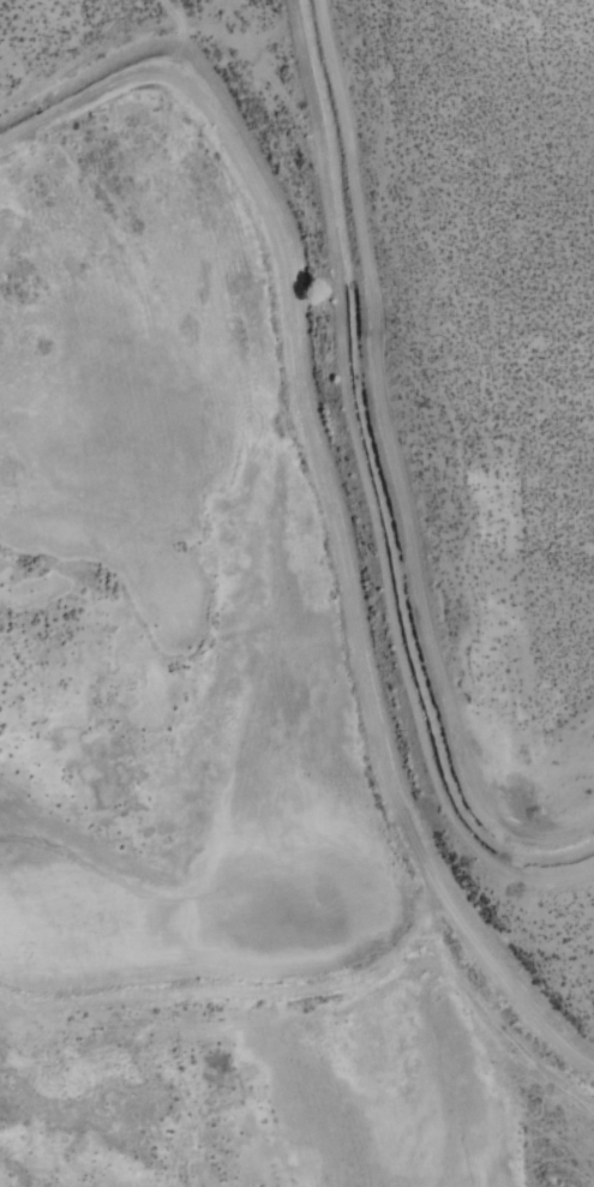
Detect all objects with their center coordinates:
road: (398, 464)
road: (364, 497)
road: (319, 500)

